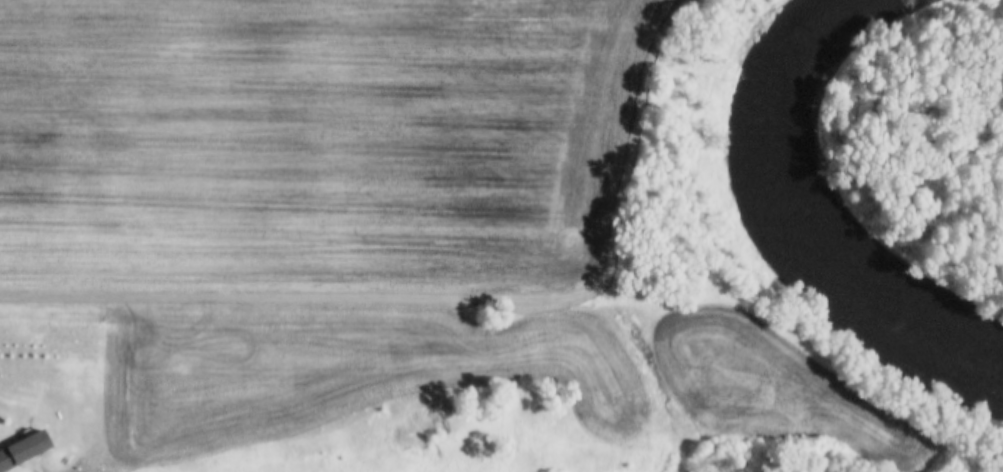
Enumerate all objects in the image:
river: (765, 240)
building: (21, 450)

